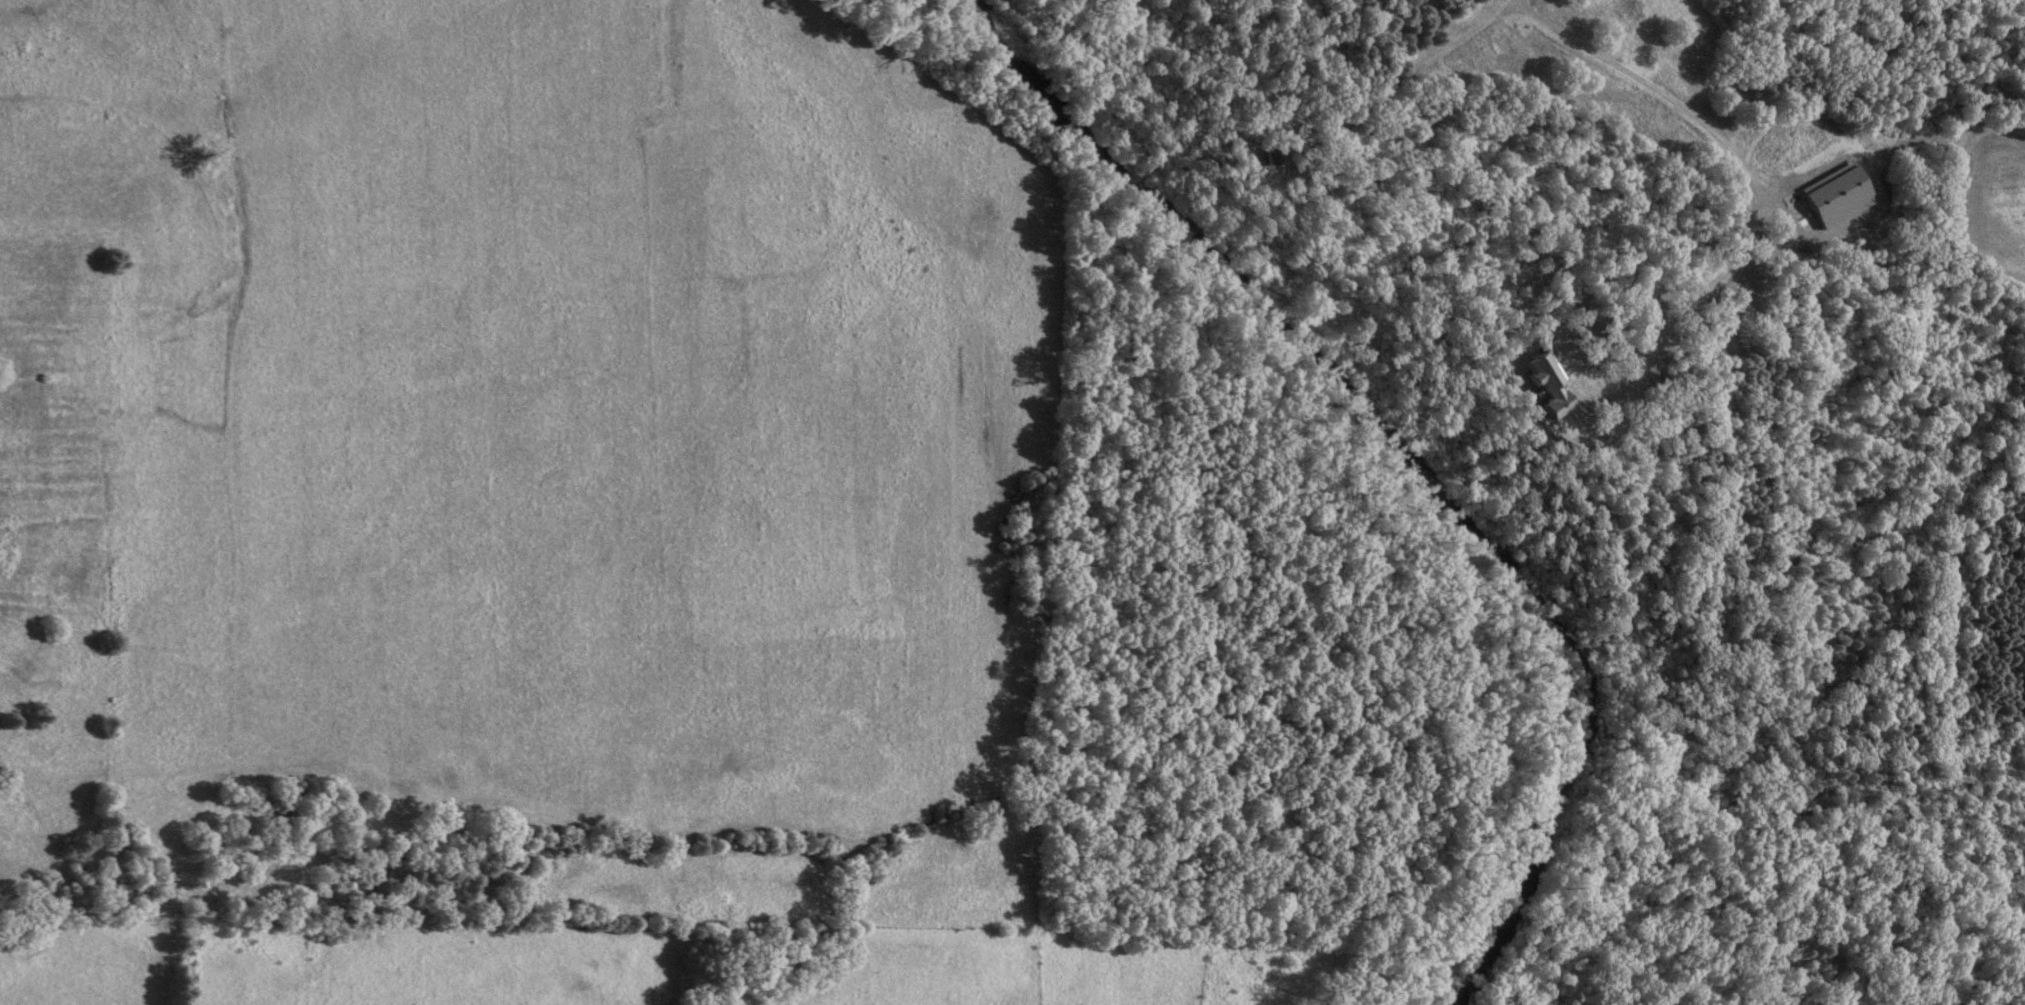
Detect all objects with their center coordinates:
road: (1417, 70)
road: (1295, 161)
road: (1752, 200)

